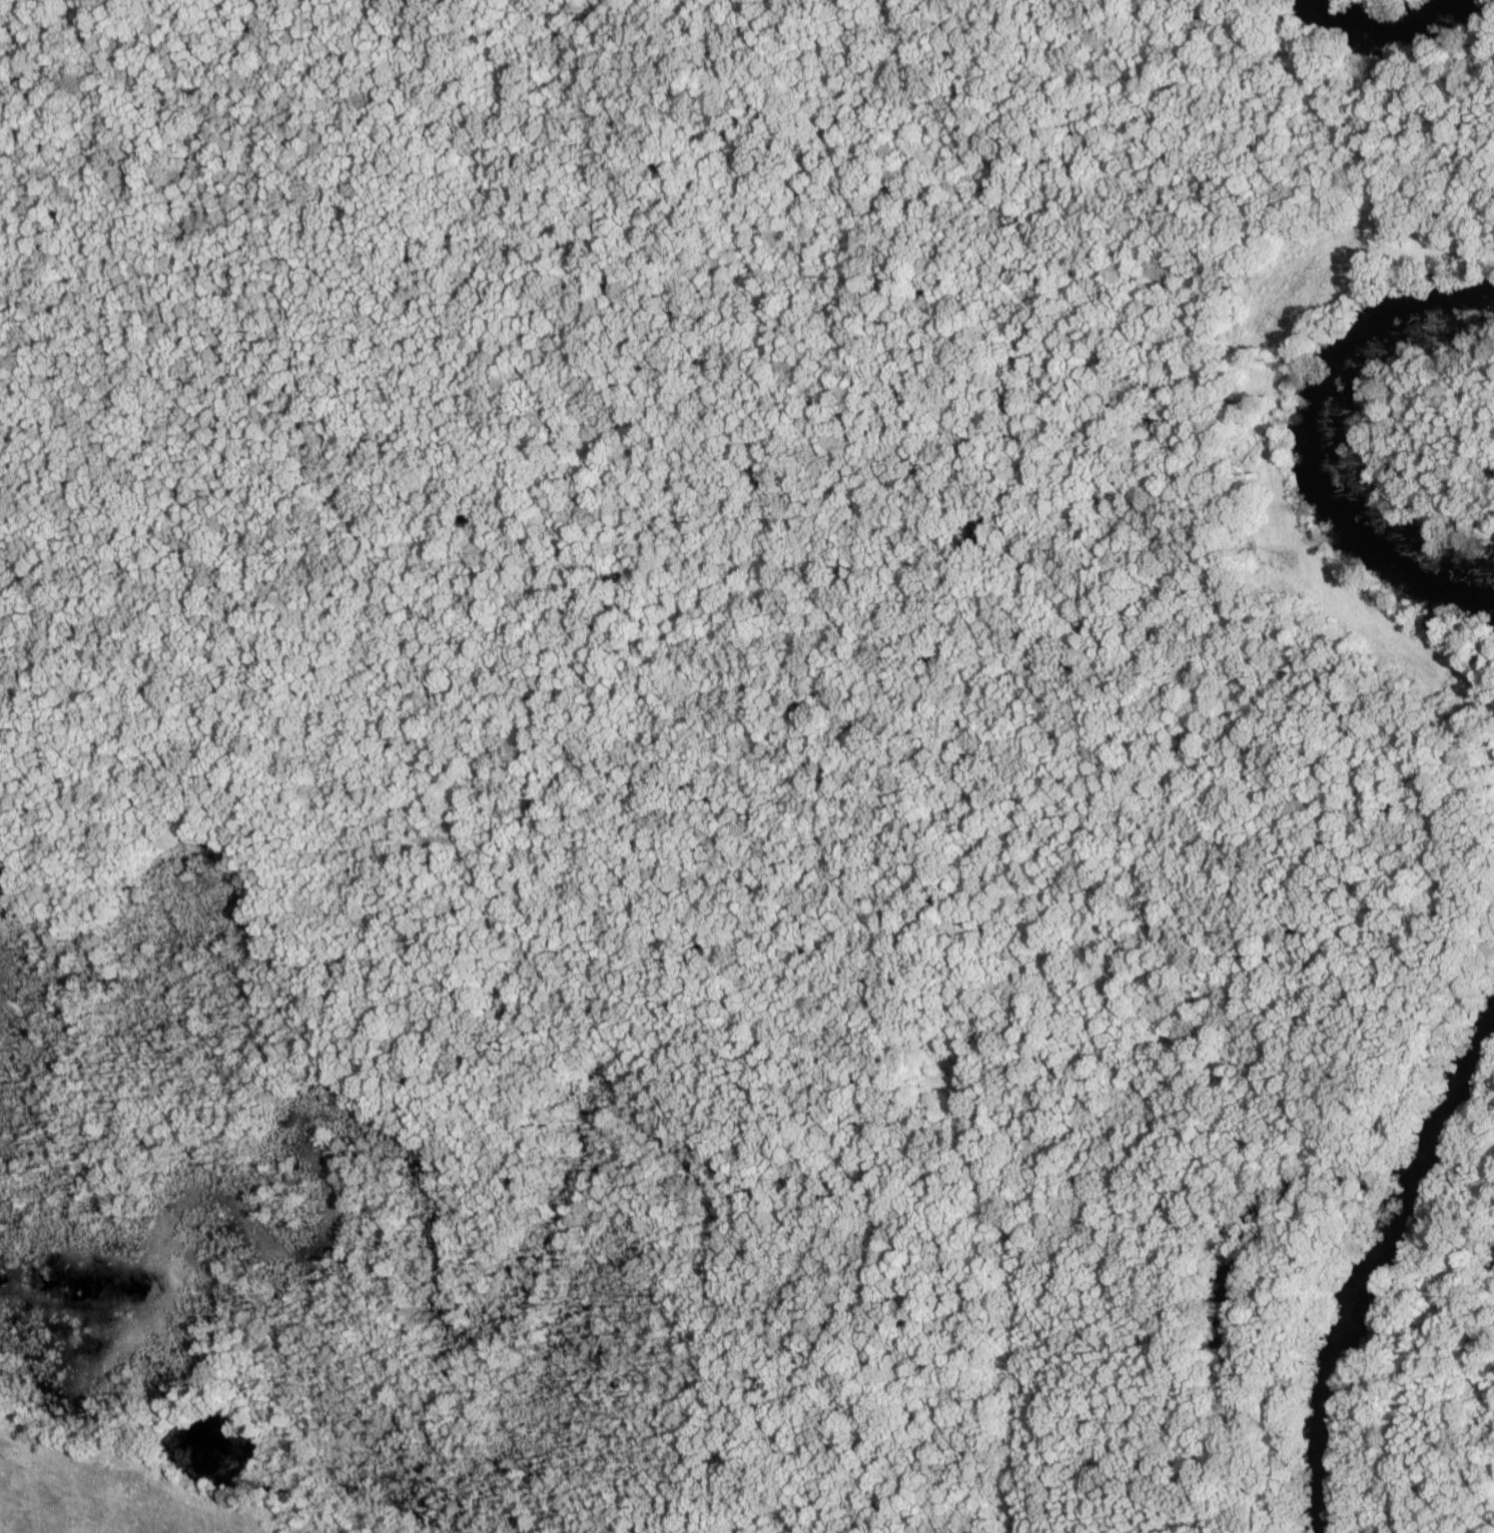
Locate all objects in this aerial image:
river: (1364, 1260)

